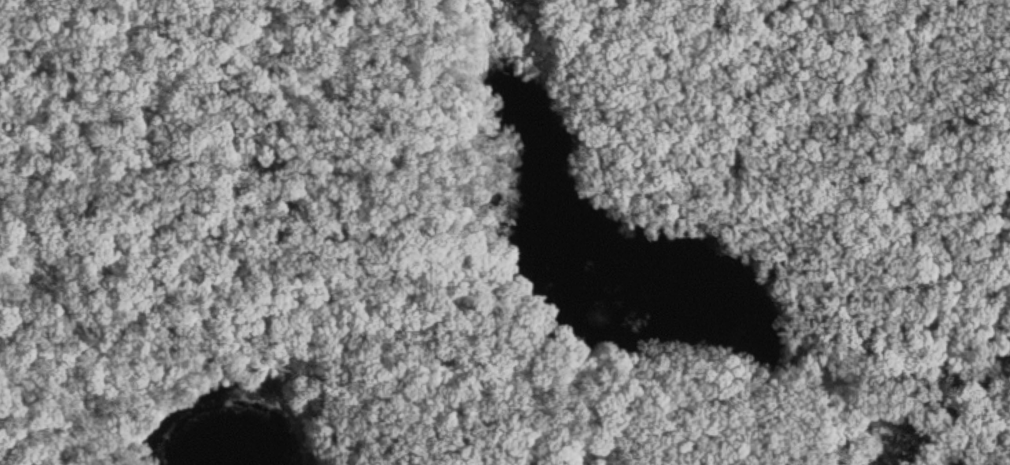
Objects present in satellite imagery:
building: (868, 440)

